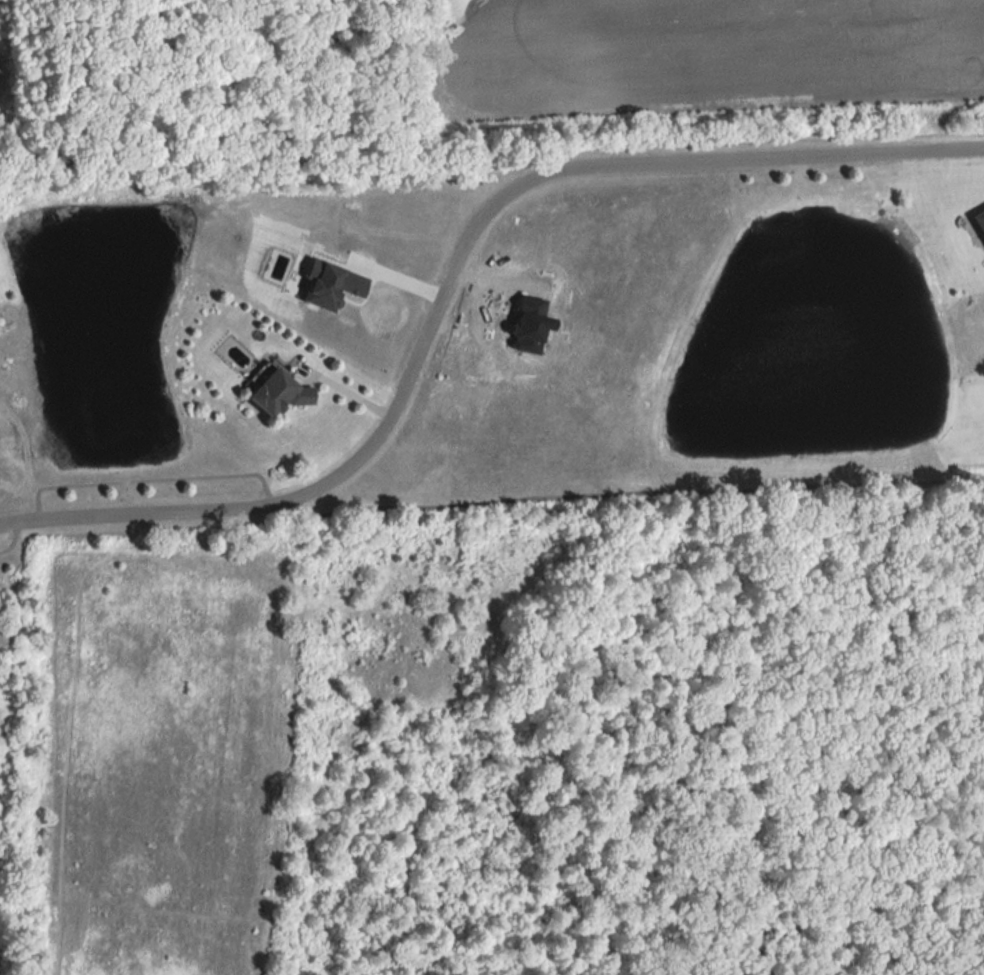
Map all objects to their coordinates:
crop: (704, 58)
building: (979, 222)
road: (452, 275)
building: (274, 391)
road: (346, 391)

